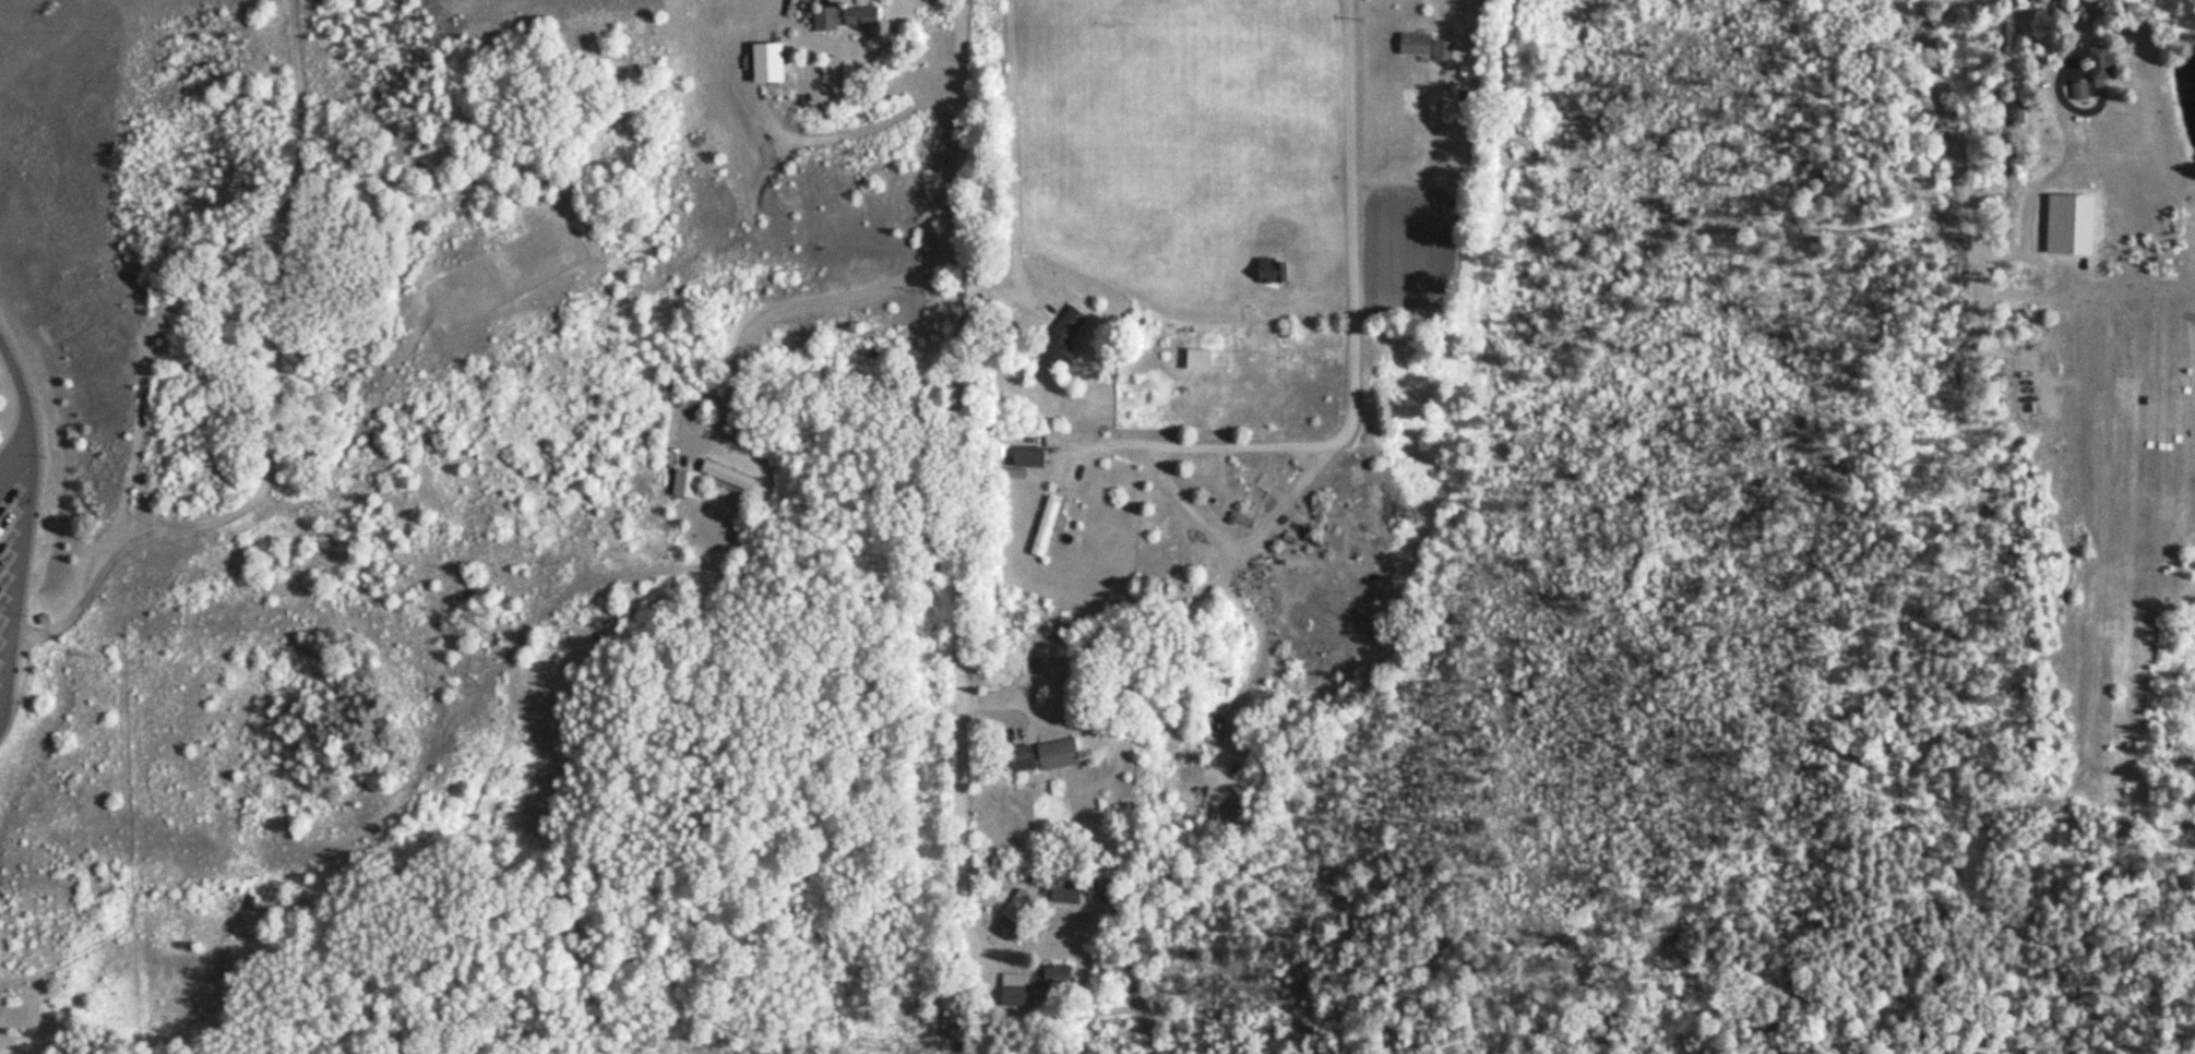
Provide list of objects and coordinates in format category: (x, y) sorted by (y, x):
building: (842, 15)
building: (1424, 44)
building: (2099, 59)
building: (2078, 88)
road: (2074, 108)
building: (2016, 111)
building: (1269, 268)
building: (1061, 337)
building: (1195, 357)
road: (278, 398)
road: (33, 407)
road: (964, 451)
building: (1026, 455)
building: (726, 474)
building: (684, 483)
building: (1047, 524)
parking lot: (17, 546)
road: (21, 573)
building: (43, 619)
building: (1329, 673)
building: (1035, 755)
building: (1207, 811)
building: (1067, 889)
building: (1014, 913)
building: (1033, 983)

